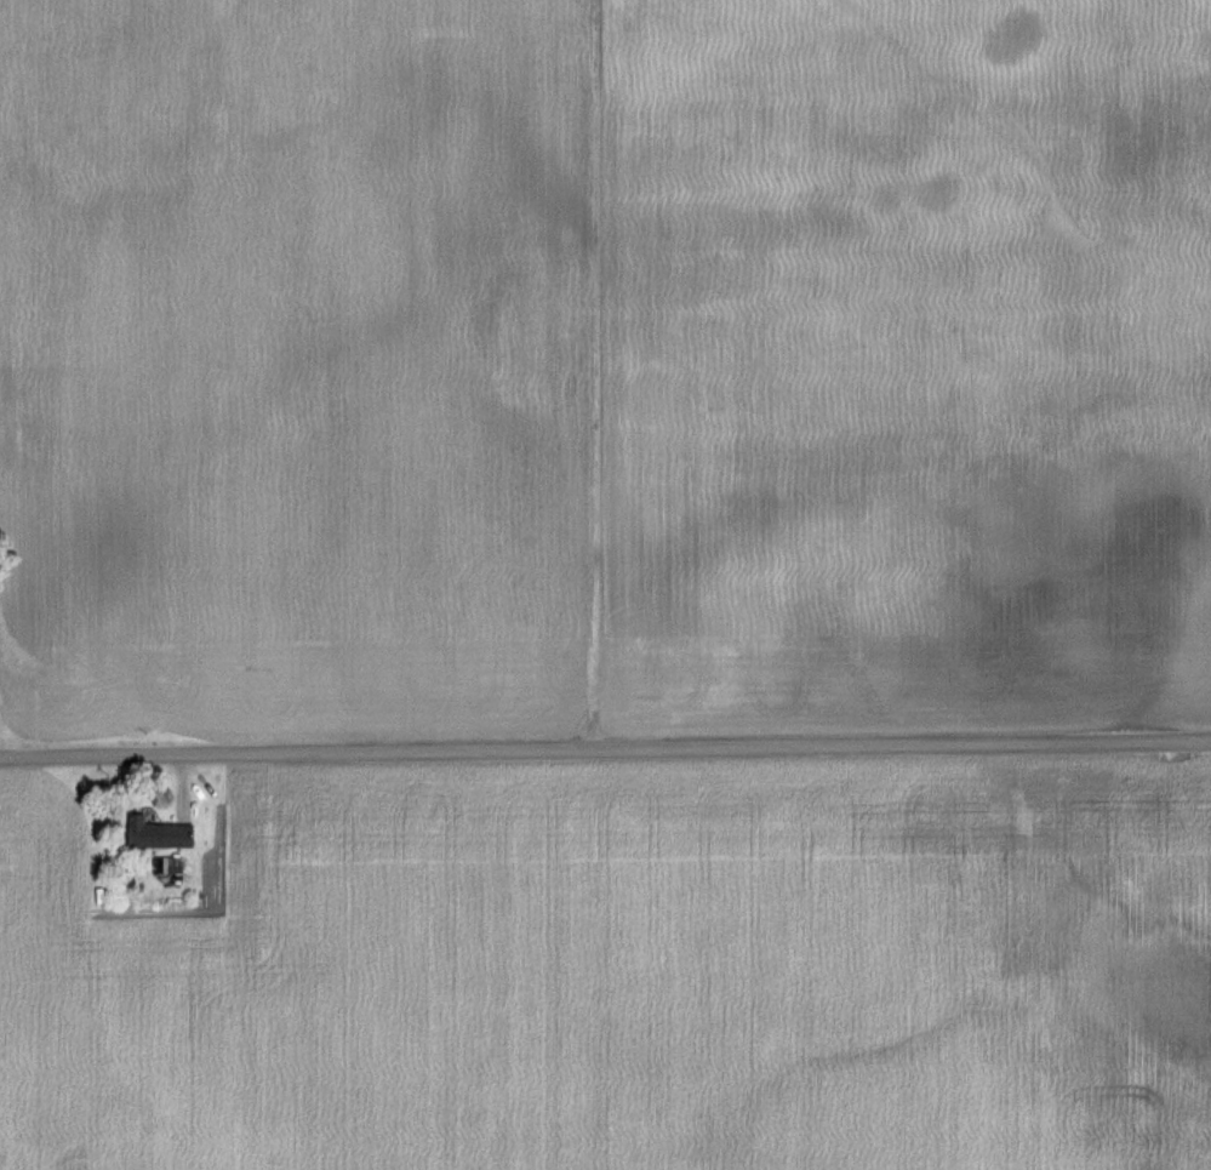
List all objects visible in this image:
road: (605, 748)
building: (155, 833)

